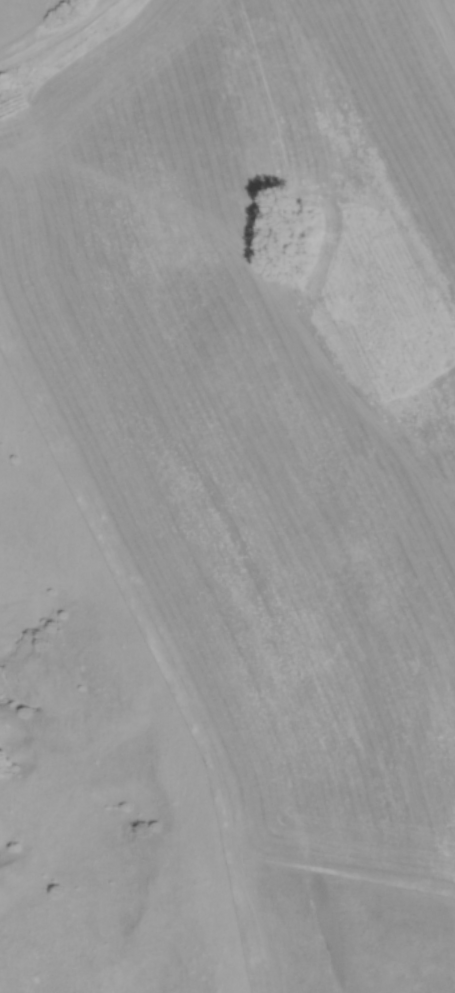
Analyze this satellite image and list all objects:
road: (56, 35)

